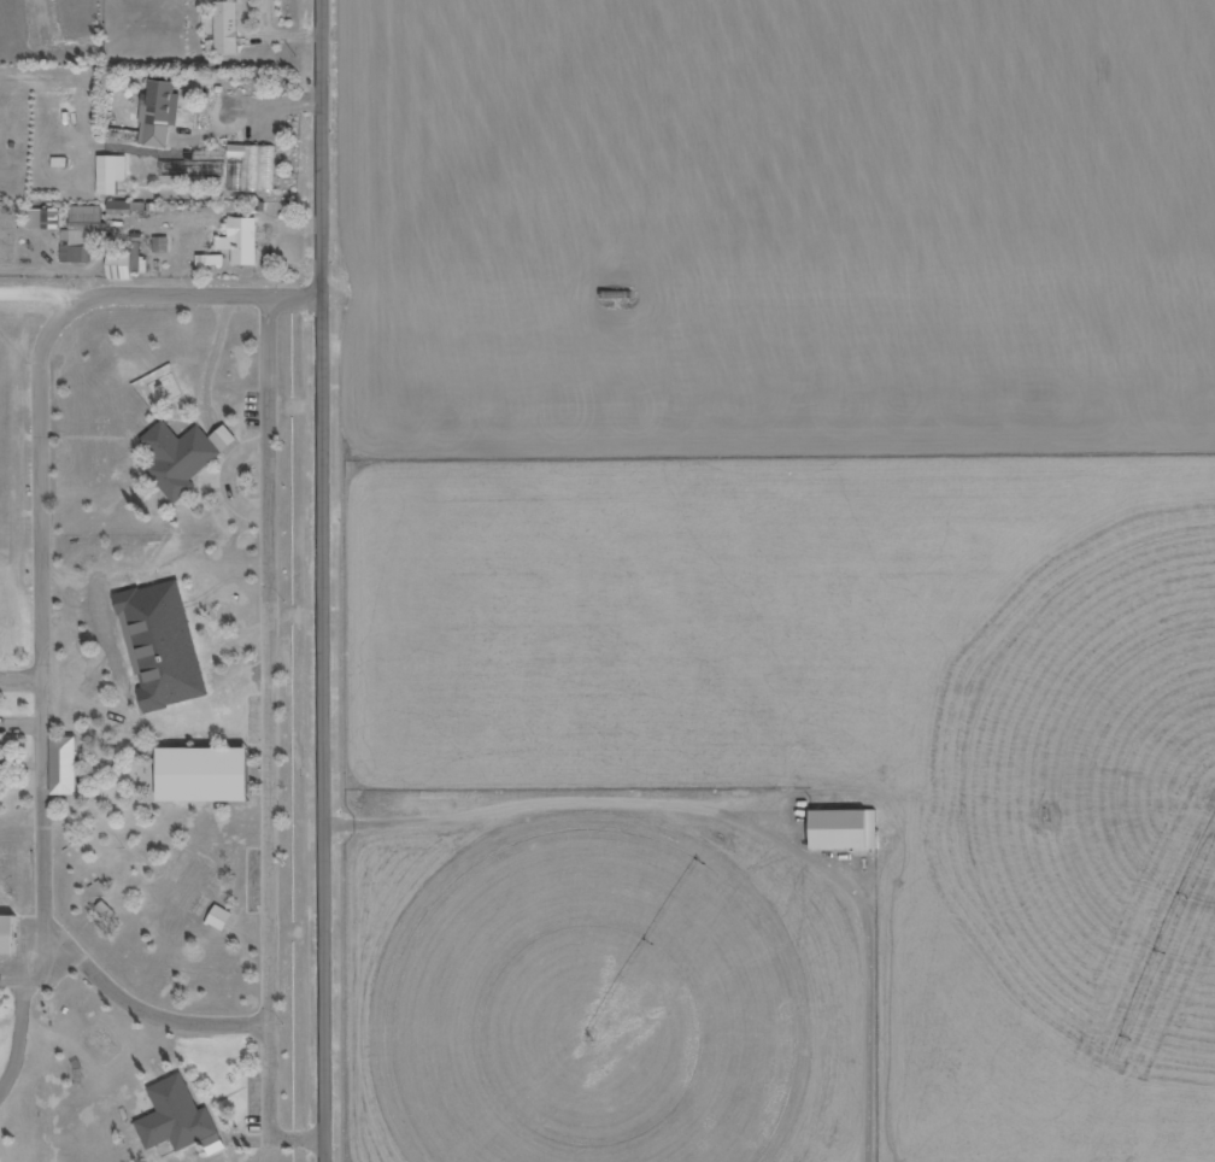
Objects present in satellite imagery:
building: (228, 28)
building: (160, 115)
building: (112, 168)
building: (257, 168)
building: (127, 206)
building: (88, 213)
building: (45, 218)
building: (242, 241)
building: (162, 245)
building: (77, 254)
building: (128, 262)
road: (162, 280)
building: (224, 438)
building: (180, 457)
road: (324, 581)
building: (65, 765)
building: (207, 774)
building: (846, 828)
building: (221, 917)
building: (10, 934)
building: (180, 1119)

